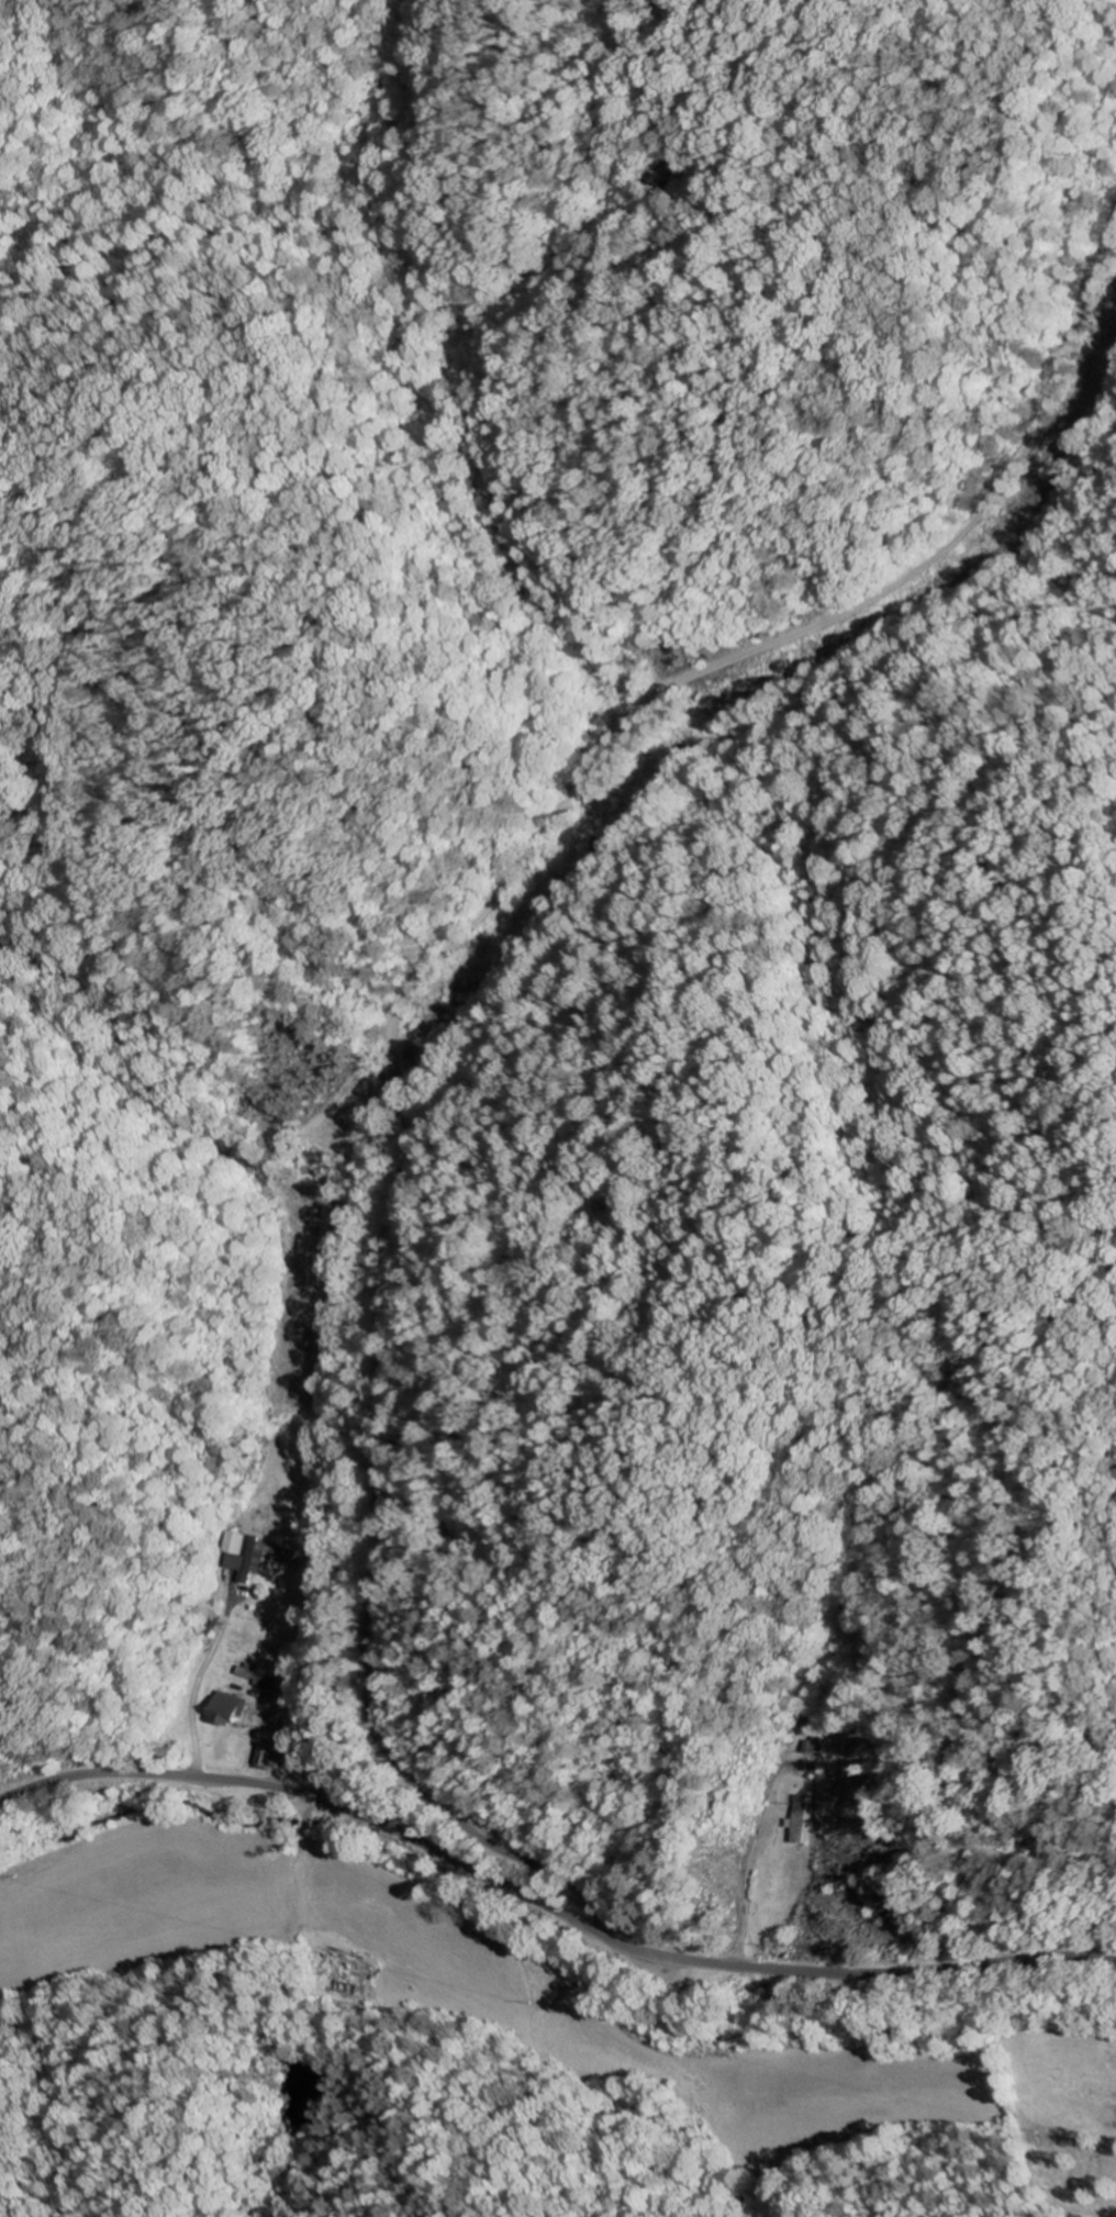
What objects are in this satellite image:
road: (409, 985)
building: (257, 1676)
building: (227, 1709)
building: (266, 1756)
building: (801, 1819)
road: (949, 1843)
road: (548, 1903)

